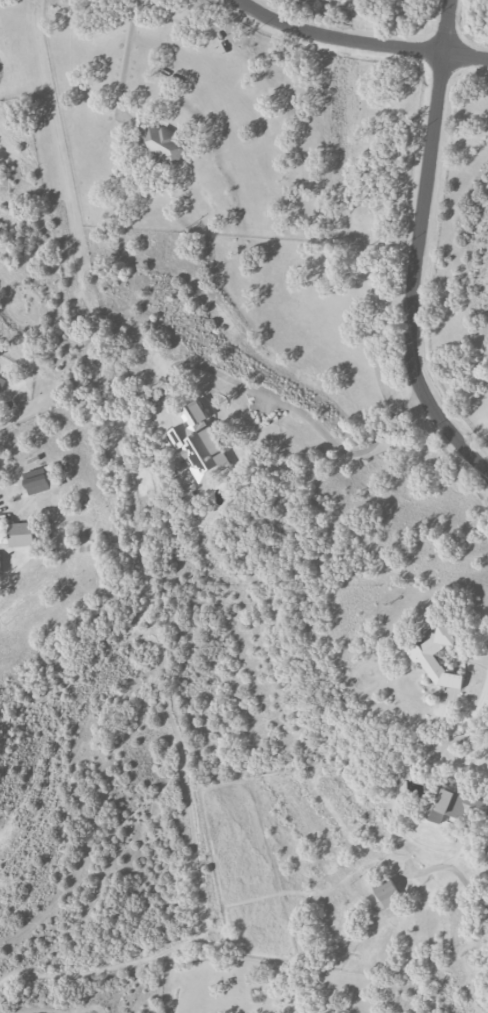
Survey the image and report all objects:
road: (359, 44)
road: (125, 58)
building: (162, 144)
road: (418, 248)
building: (1, 382)
road: (283, 404)
building: (198, 443)
building: (39, 479)
building: (21, 533)
building: (421, 656)
road: (480, 676)
building: (451, 806)
building: (388, 893)

